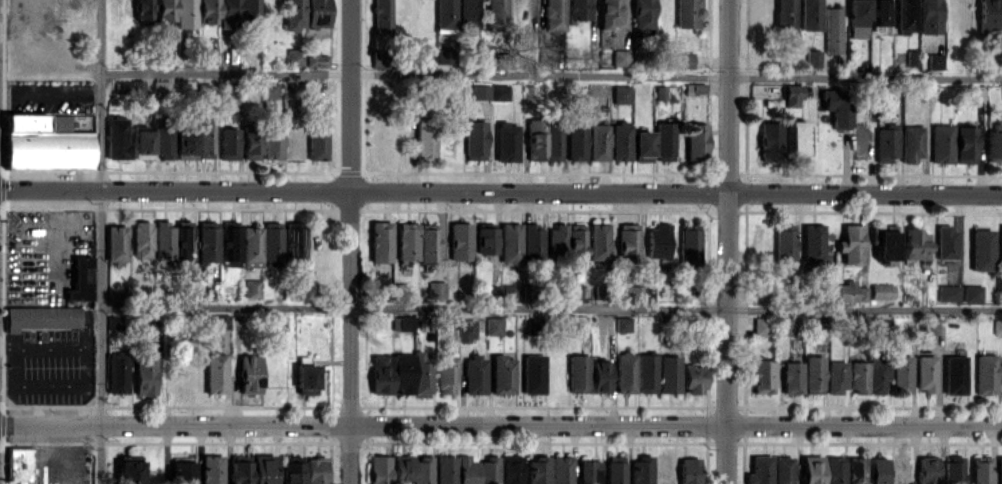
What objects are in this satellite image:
building: (142, 9)
building: (577, 9)
building: (165, 10)
building: (207, 11)
building: (229, 12)
building: (879, 12)
building: (186, 13)
building: (317, 13)
building: (468, 13)
building: (609, 13)
building: (688, 13)
building: (250, 14)
building: (445, 14)
building: (643, 14)
building: (784, 14)
building: (906, 14)
building: (293, 15)
building: (495, 15)
building: (554, 15)
building: (810, 15)
building: (988, 15)
building: (382, 16)
building: (929, 16)
building: (857, 19)
building: (832, 29)
road: (52, 47)
building: (169, 49)
building: (208, 54)
building: (446, 55)
building: (294, 56)
building: (548, 56)
building: (621, 57)
building: (813, 57)
building: (911, 57)
building: (316, 59)
building: (684, 60)
building: (934, 60)
building: (492, 72)
road: (551, 75)
building: (137, 86)
building: (161, 87)
building: (695, 88)
building: (270, 90)
building: (490, 92)
building: (530, 93)
building: (660, 93)
building: (621, 94)
building: (791, 95)
building: (836, 106)
building: (272, 138)
building: (317, 138)
building: (795, 138)
building: (116, 139)
building: (425, 139)
building: (535, 139)
building: (205, 140)
building: (475, 140)
building: (163, 141)
building: (506, 141)
building: (620, 141)
building: (664, 141)
building: (696, 141)
building: (770, 141)
building: (45, 142)
building: (553, 142)
building: (576, 142)
building: (598, 142)
building: (885, 142)
building: (228, 143)
building: (911, 143)
building: (941, 143)
building: (994, 143)
building: (142, 144)
building: (185, 144)
building: (250, 144)
building: (964, 144)
building: (642, 146)
road: (500, 191)
building: (142, 239)
building: (164, 240)
building: (485, 240)
building: (207, 241)
building: (272, 241)
road: (349, 241)
building: (380, 241)
building: (407, 241)
building: (460, 241)
building: (555, 241)
building: (598, 241)
building: (658, 241)
building: (945, 241)
road: (101, 242)
building: (510, 242)
building: (532, 242)
road: (726, 242)
building: (116, 243)
building: (183, 243)
building: (295, 243)
building: (575, 243)
building: (628, 243)
building: (784, 243)
building: (812, 243)
building: (883, 243)
building: (1000, 243)
building: (689, 244)
building: (850, 244)
building: (915, 244)
building: (229, 245)
building: (427, 245)
building: (251, 246)
building: (981, 249)
building: (80, 279)
building: (1000, 284)
building: (251, 288)
building: (436, 289)
building: (402, 290)
building: (574, 291)
building: (845, 291)
building: (881, 291)
building: (971, 292)
building: (641, 293)
building: (861, 293)
building: (948, 293)
road: (551, 309)
building: (41, 317)
building: (217, 321)
building: (402, 323)
building: (580, 323)
building: (623, 324)
building: (494, 326)
building: (760, 326)
building: (784, 326)
building: (930, 326)
building: (997, 326)
building: (147, 329)
building: (465, 330)
building: (577, 372)
building: (625, 372)
building: (116, 373)
building: (215, 373)
building: (411, 373)
building: (646, 373)
building: (925, 373)
building: (145, 374)
building: (249, 374)
building: (380, 374)
building: (446, 374)
building: (474, 374)
building: (502, 374)
building: (533, 374)
building: (669, 374)
building: (813, 374)
building: (901, 374)
building: (954, 374)
building: (985, 374)
building: (599, 376)
building: (761, 376)
building: (791, 377)
building: (835, 377)
building: (858, 377)
building: (876, 377)
building: (306, 379)
building: (693, 379)
road: (500, 425)
building: (211, 469)
building: (239, 469)
building: (263, 469)
building: (292, 469)
building: (379, 469)
building: (413, 469)
building: (445, 469)
building: (466, 469)
building: (511, 469)
building: (811, 469)
building: (953, 469)
building: (1000, 469)
building: (129, 470)
building: (183, 470)
building: (316, 470)
building: (488, 470)
building: (538, 470)
building: (561, 470)
building: (615, 470)
building: (641, 470)
building: (688, 470)
building: (759, 470)
building: (782, 470)
building: (835, 470)
building: (855, 470)
building: (877, 470)
building: (900, 470)
building: (927, 470)
building: (980, 470)
building: (588, 471)

